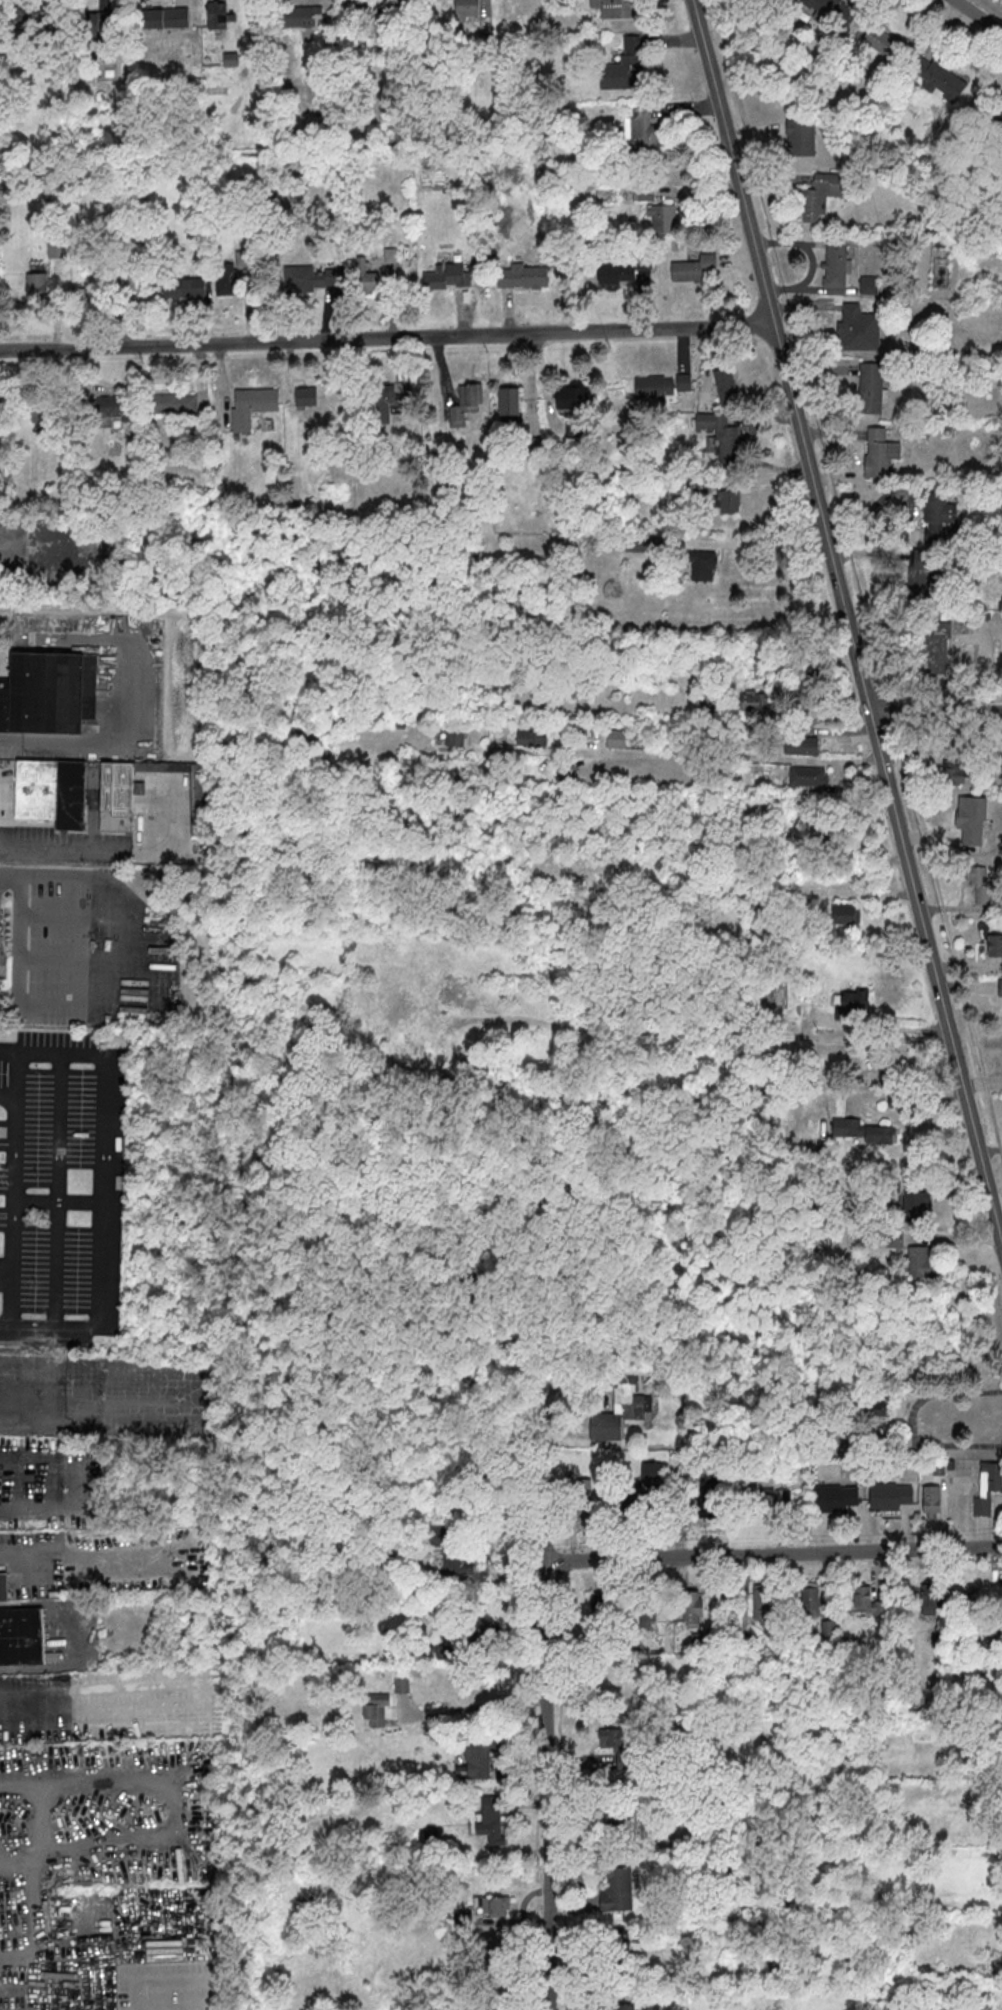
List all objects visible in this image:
building: (467, 8)
building: (615, 8)
building: (831, 10)
building: (218, 14)
road: (980, 14)
building: (164, 16)
building: (301, 16)
building: (381, 16)
building: (26, 20)
building: (97, 25)
building: (881, 40)
building: (630, 61)
building: (939, 76)
building: (310, 121)
building: (997, 121)
building: (643, 132)
building: (801, 137)
building: (643, 191)
building: (821, 194)
building: (661, 217)
building: (836, 261)
building: (694, 268)
building: (623, 270)
building: (448, 275)
building: (518, 275)
building: (366, 277)
building: (309, 279)
building: (228, 282)
building: (868, 284)
building: (37, 285)
building: (184, 287)
building: (852, 325)
road: (388, 337)
building: (684, 382)
building: (654, 385)
building: (726, 387)
building: (871, 387)
building: (306, 395)
building: (573, 396)
building: (705, 396)
building: (173, 402)
building: (509, 403)
building: (383, 404)
building: (252, 405)
building: (467, 406)
building: (111, 408)
building: (40, 411)
building: (719, 435)
building: (880, 452)
building: (727, 500)
building: (941, 512)
road: (765, 548)
building: (702, 564)
building: (925, 569)
road: (849, 619)
building: (936, 647)
building: (50, 692)
building: (753, 699)
road: (936, 704)
building: (455, 734)
building: (532, 737)
building: (616, 737)
road: (106, 743)
building: (801, 745)
road: (676, 756)
building: (954, 771)
building: (809, 775)
building: (133, 788)
building: (52, 791)
building: (972, 819)
road: (12, 879)
building: (980, 882)
building: (845, 913)
building: (994, 946)
building: (1000, 989)
road: (150, 996)
building: (851, 1003)
building: (414, 1014)
road: (890, 1025)
building: (866, 1078)
road: (18, 1079)
road: (910, 1095)
building: (864, 1130)
road: (102, 1181)
road: (56, 1188)
road: (57, 1199)
building: (916, 1205)
road: (12, 1207)
building: (920, 1261)
road: (5, 1279)
road: (4, 1323)
building: (621, 1413)
road: (912, 1419)
building: (652, 1479)
building: (988, 1487)
building: (890, 1495)
building: (773, 1496)
building: (587, 1497)
building: (706, 1497)
building: (835, 1497)
building: (932, 1500)
road: (773, 1554)
building: (458, 1560)
building: (3, 1584)
building: (810, 1597)
building: (865, 1600)
building: (932, 1600)
building: (761, 1603)
building: (693, 1613)
building: (647, 1615)
building: (598, 1617)
building: (481, 1624)
building: (20, 1634)
building: (402, 1684)
building: (615, 1692)
road: (476, 1705)
building: (376, 1709)
road: (548, 1731)
building: (620, 1744)
building: (481, 1757)
building: (493, 1821)
building: (619, 1823)
building: (431, 1835)
building: (617, 1890)
road: (49, 1902)
building: (492, 1905)
building: (497, 1945)
building: (619, 1945)
road: (31, 1992)
building: (497, 2005)
building: (623, 2006)

